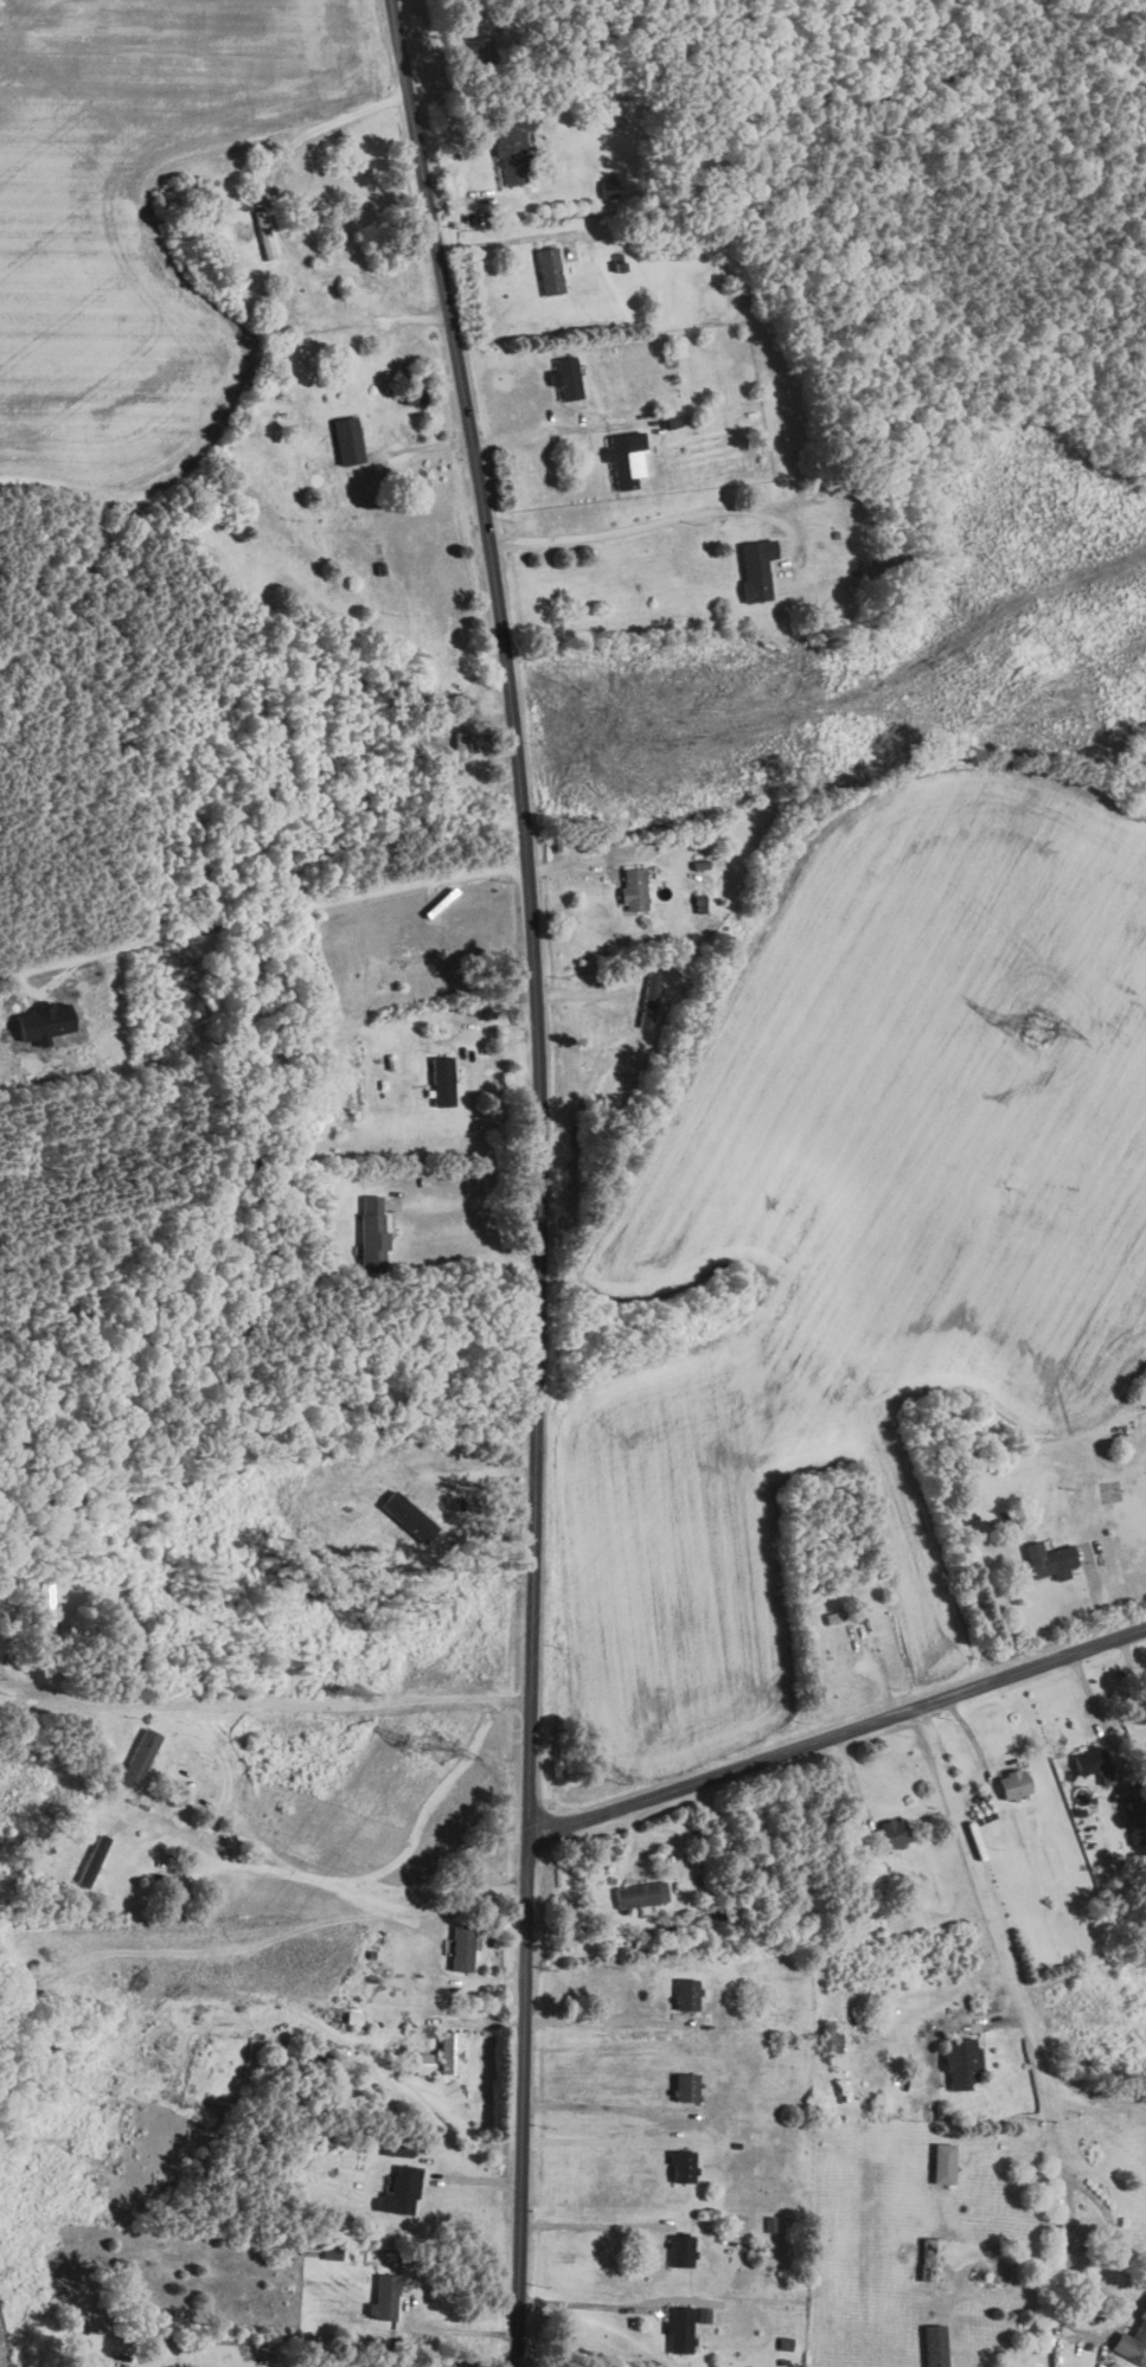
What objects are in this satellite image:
road: (334, 120)
building: (511, 147)
building: (550, 269)
building: (565, 377)
road: (530, 435)
building: (348, 440)
road: (422, 445)
building: (623, 460)
road: (635, 526)
building: (756, 567)
building: (634, 889)
road: (264, 920)
building: (649, 998)
building: (43, 1021)
power tower: (1041, 1029)
building: (442, 1079)
road: (542, 1178)
road: (476, 1192)
building: (372, 1232)
building: (409, 1515)
building: (1049, 1559)
road: (273, 1704)
building: (1140, 1711)
road: (840, 1736)
power tower: (442, 1749)
building: (140, 1756)
building: (1093, 1762)
building: (1012, 1783)
building: (1133, 1820)
building: (891, 1833)
road: (245, 1856)
road: (359, 1872)
building: (641, 1893)
road: (997, 1929)
building: (462, 1946)
building: (687, 1993)
road: (610, 2019)
building: (452, 2052)
building: (961, 2061)
building: (424, 2063)
building: (686, 2085)
road: (1086, 2097)
road: (596, 2140)
building: (397, 2148)
building: (943, 2162)
building: (683, 2164)
building: (401, 2189)
road: (590, 2224)
building: (681, 2249)
building: (931, 2258)
building: (384, 2297)
road: (583, 2304)
building: (680, 2328)
road: (457, 2329)
road: (1097, 2331)
building: (1133, 2340)
building: (934, 2344)

